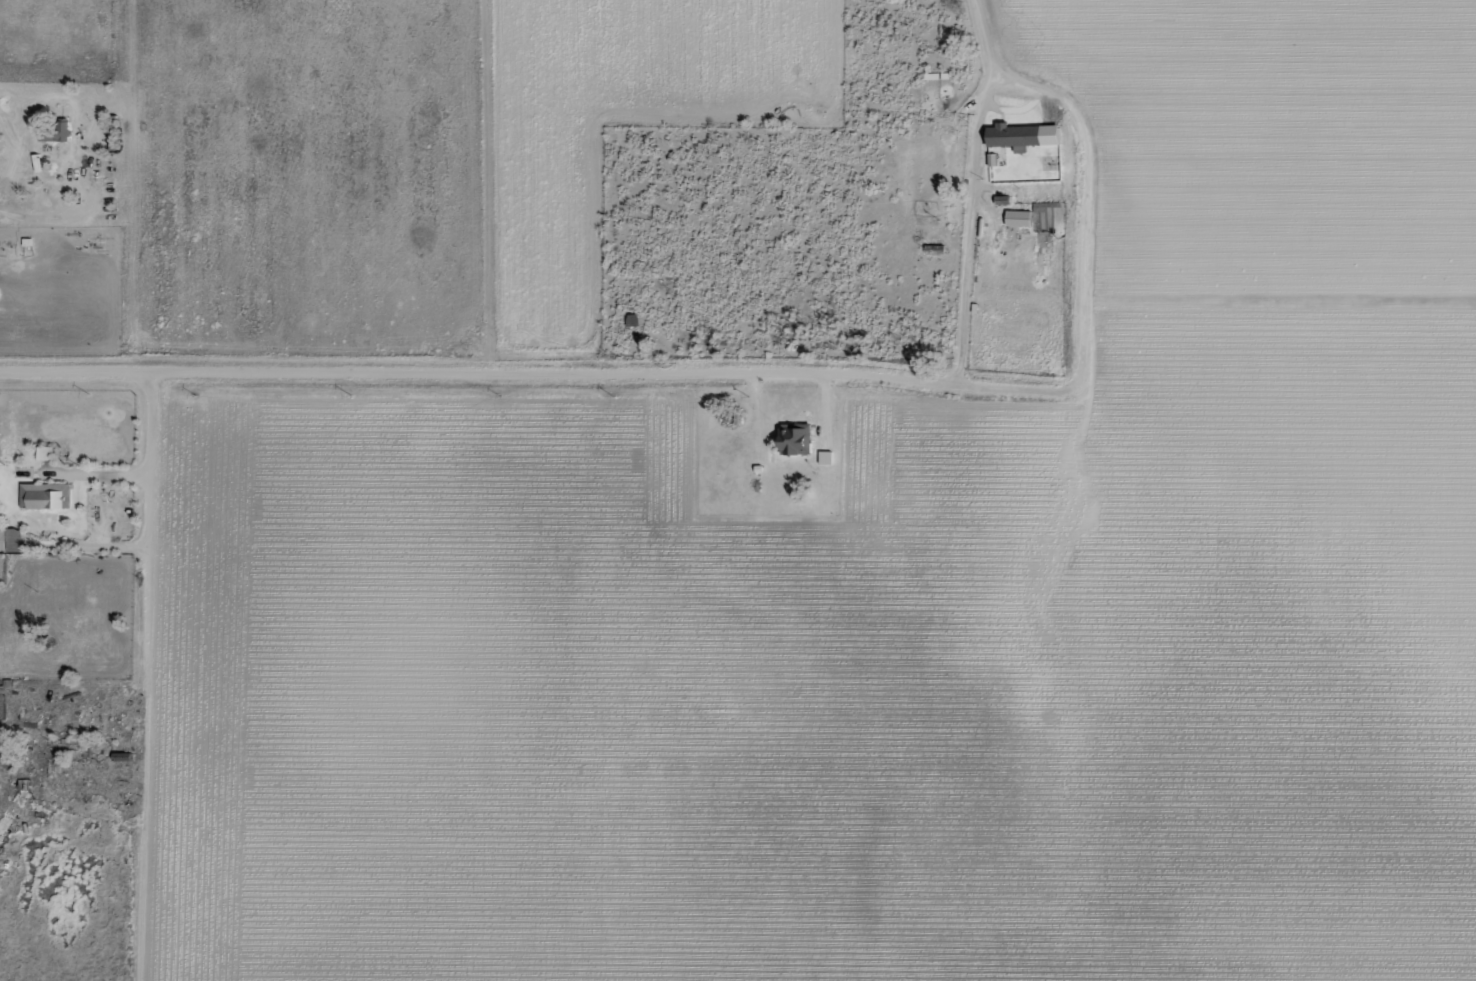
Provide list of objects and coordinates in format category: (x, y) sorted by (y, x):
building: (55, 133)
building: (1020, 136)
road: (972, 187)
building: (1017, 218)
road: (553, 372)
building: (793, 440)
building: (43, 453)
building: (823, 457)
building: (43, 496)
road: (150, 520)
building: (9, 540)

